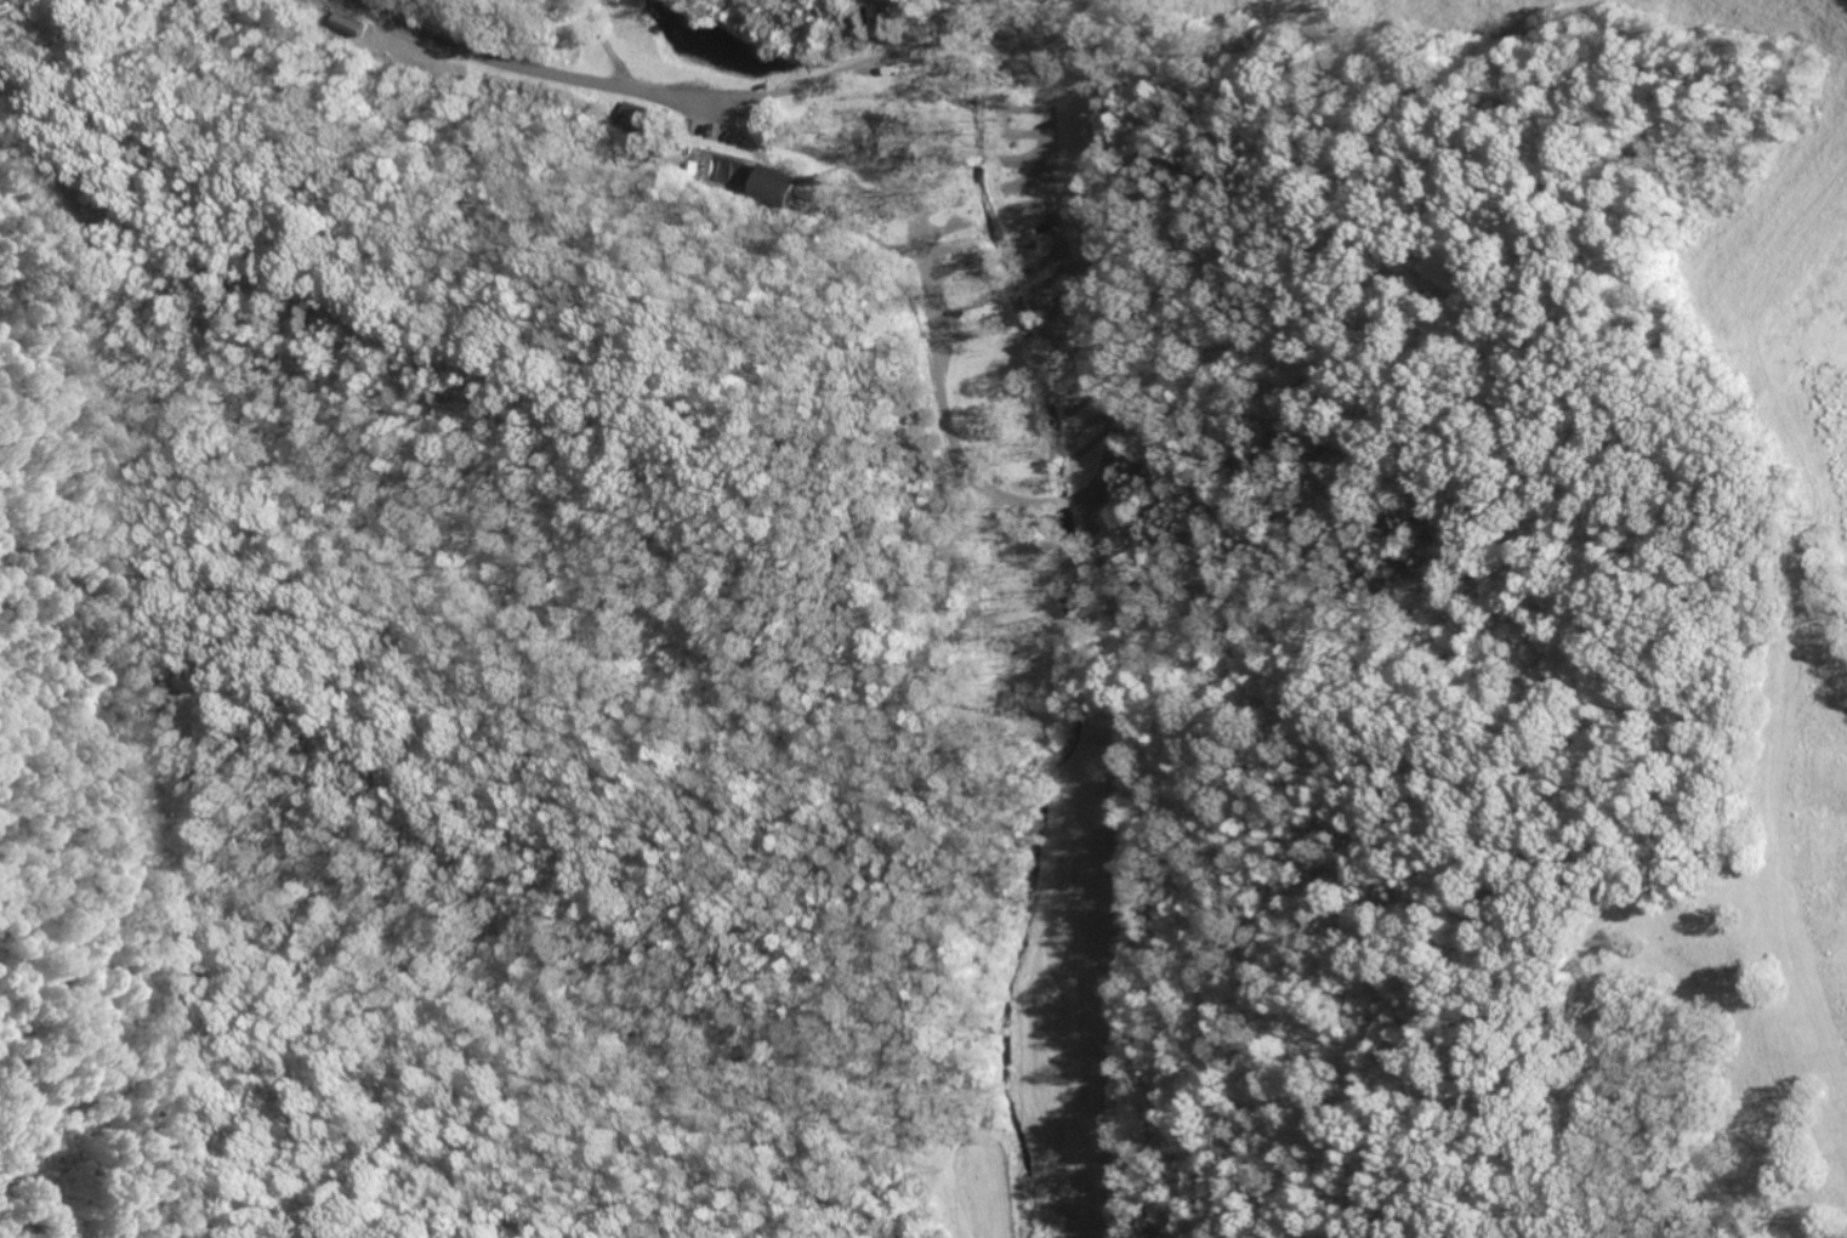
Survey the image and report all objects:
road: (607, 42)
road: (809, 53)
road: (498, 59)
road: (813, 76)
road: (705, 95)
building: (635, 113)
building: (649, 119)
road: (768, 138)
building: (779, 184)
road: (1086, 356)

